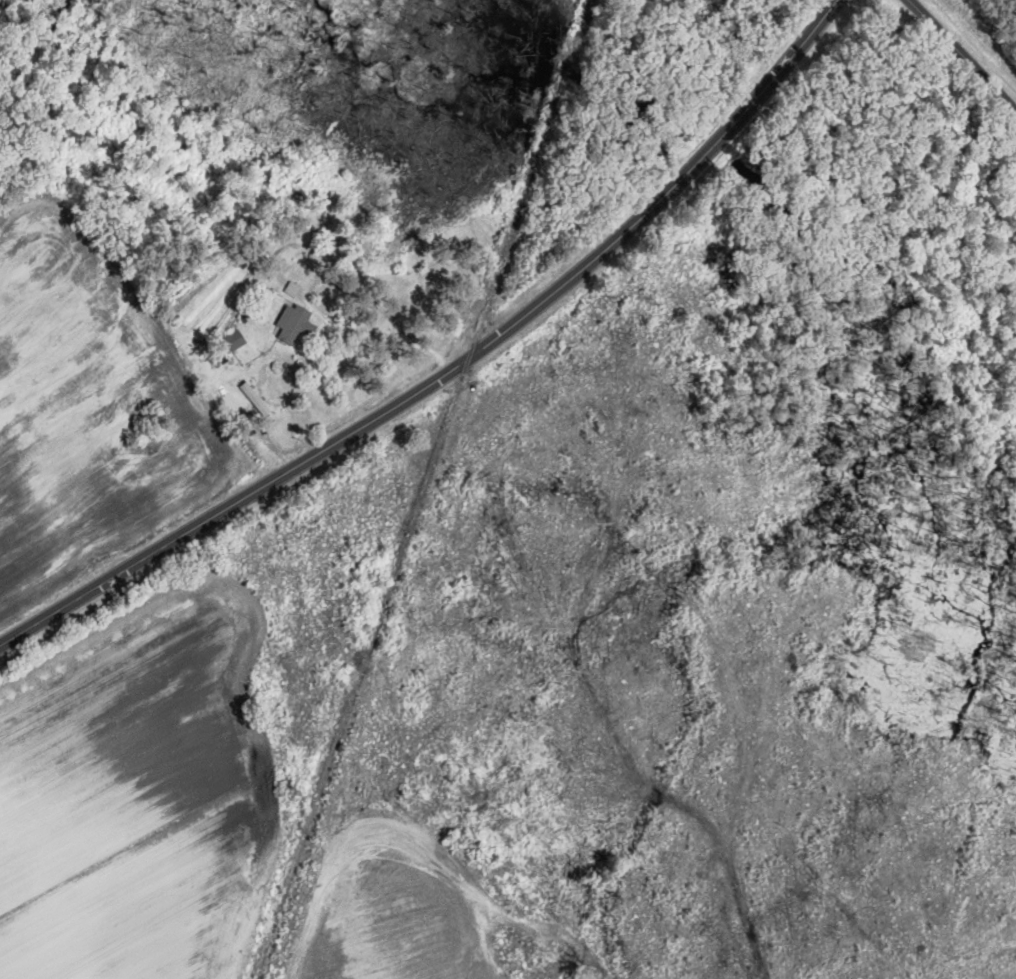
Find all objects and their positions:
railway: (581, 29)
road: (962, 55)
railway: (569, 68)
building: (291, 290)
building: (291, 324)
building: (234, 340)
road: (453, 367)
railway: (409, 528)

